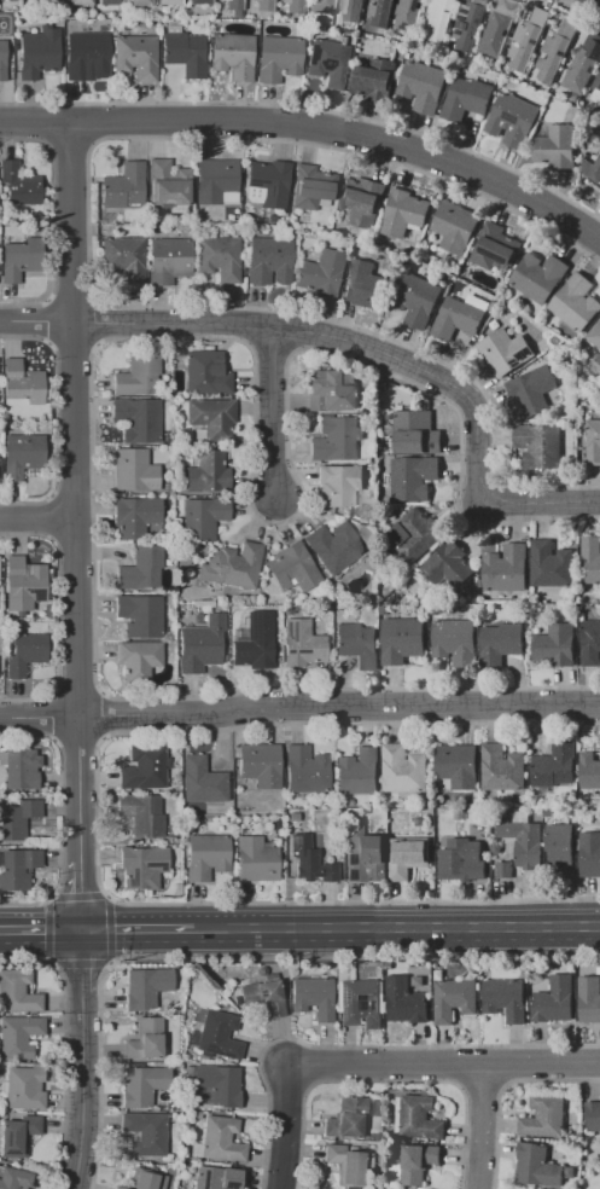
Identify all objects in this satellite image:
building: (80, 1)
building: (110, 1)
building: (169, 1)
building: (198, 1)
building: (140, 2)
building: (234, 4)
building: (263, 5)
building: (292, 6)
building: (321, 6)
road: (582, 6)
building: (351, 10)
building: (381, 12)
building: (235, 13)
building: (409, 14)
building: (439, 18)
building: (470, 23)
building: (500, 28)
building: (529, 39)
building: (403, 46)
building: (557, 50)
building: (184, 51)
building: (39, 54)
building: (86, 54)
building: (232, 54)
building: (136, 57)
building: (278, 58)
building: (2, 60)
building: (330, 63)
building: (583, 65)
building: (374, 80)
building: (423, 86)
building: (596, 88)
building: (467, 98)
road: (310, 109)
building: (513, 120)
road: (94, 121)
road: (43, 123)
road: (311, 126)
road: (69, 141)
building: (555, 146)
building: (592, 169)
building: (216, 182)
building: (19, 184)
building: (168, 184)
building: (267, 184)
building: (124, 186)
building: (311, 187)
building: (599, 191)
building: (362, 201)
building: (404, 213)
road: (52, 221)
building: (455, 226)
building: (495, 246)
road: (88, 254)
building: (19, 257)
building: (219, 257)
building: (123, 259)
building: (168, 260)
building: (268, 261)
building: (321, 274)
building: (538, 277)
building: (365, 284)
building: (416, 300)
road: (70, 302)
building: (576, 302)
building: (460, 317)
road: (34, 320)
road: (47, 321)
road: (95, 323)
road: (244, 324)
road: (299, 330)
building: (595, 333)
road: (151, 338)
road: (342, 338)
road: (72, 343)
road: (270, 346)
building: (506, 350)
building: (598, 359)
building: (205, 373)
building: (138, 375)
building: (22, 382)
building: (331, 390)
building: (532, 390)
road: (270, 408)
building: (17, 416)
building: (212, 418)
building: (138, 419)
road: (56, 420)
building: (415, 433)
building: (336, 440)
building: (594, 441)
building: (540, 443)
building: (23, 454)
building: (133, 470)
building: (208, 474)
building: (413, 477)
building: (340, 485)
road: (70, 495)
road: (557, 501)
road: (514, 503)
building: (135, 516)
road: (36, 517)
road: (51, 517)
building: (202, 518)
road: (75, 527)
building: (415, 534)
road: (70, 539)
building: (334, 546)
building: (590, 558)
building: (449, 564)
building: (552, 564)
building: (233, 565)
building: (141, 568)
building: (292, 568)
building: (506, 568)
building: (23, 584)
building: (482, 584)
building: (328, 599)
building: (384, 610)
building: (140, 614)
road: (57, 616)
building: (402, 639)
building: (455, 640)
building: (592, 643)
building: (200, 644)
building: (302, 644)
building: (501, 644)
building: (557, 644)
building: (357, 645)
building: (255, 646)
building: (25, 652)
building: (139, 659)
road: (76, 692)
road: (299, 706)
road: (101, 714)
road: (53, 717)
road: (77, 737)
building: (261, 764)
building: (554, 765)
building: (144, 767)
building: (458, 767)
building: (503, 767)
building: (21, 768)
building: (403, 768)
building: (305, 770)
building: (589, 770)
building: (359, 772)
building: (202, 781)
building: (366, 811)
road: (95, 814)
building: (142, 814)
building: (520, 816)
road: (60, 817)
building: (295, 817)
building: (17, 818)
building: (524, 841)
building: (487, 842)
building: (560, 846)
building: (590, 853)
building: (206, 855)
building: (408, 857)
building: (371, 858)
building: (256, 859)
building: (460, 859)
building: (311, 860)
building: (144, 865)
building: (18, 868)
building: (503, 869)
road: (78, 897)
road: (51, 928)
road: (107, 928)
road: (397, 929)
traffic signals: (81, 933)
road: (138, 933)
road: (40, 934)
road: (238, 955)
road: (80, 961)
building: (146, 987)
building: (17, 992)
building: (313, 996)
building: (264, 997)
building: (454, 998)
building: (506, 998)
building: (555, 999)
building: (589, 999)
building: (406, 1000)
building: (361, 1003)
building: (219, 1034)
building: (18, 1037)
building: (145, 1039)
road: (356, 1045)
road: (63, 1048)
road: (81, 1061)
road: (441, 1061)
road: (455, 1063)
road: (506, 1063)
road: (384, 1080)
building: (217, 1083)
road: (480, 1083)
building: (142, 1085)
building: (2, 1087)
building: (25, 1087)
road: (501, 1087)
building: (544, 1115)
building: (593, 1115)
building: (418, 1116)
building: (346, 1118)
road: (479, 1124)
road: (282, 1126)
building: (145, 1132)
building: (18, 1135)
building: (221, 1139)
building: (418, 1161)
building: (345, 1165)
building: (537, 1165)
building: (216, 1177)
building: (16, 1179)
building: (144, 1179)
building: (120, 1188)

